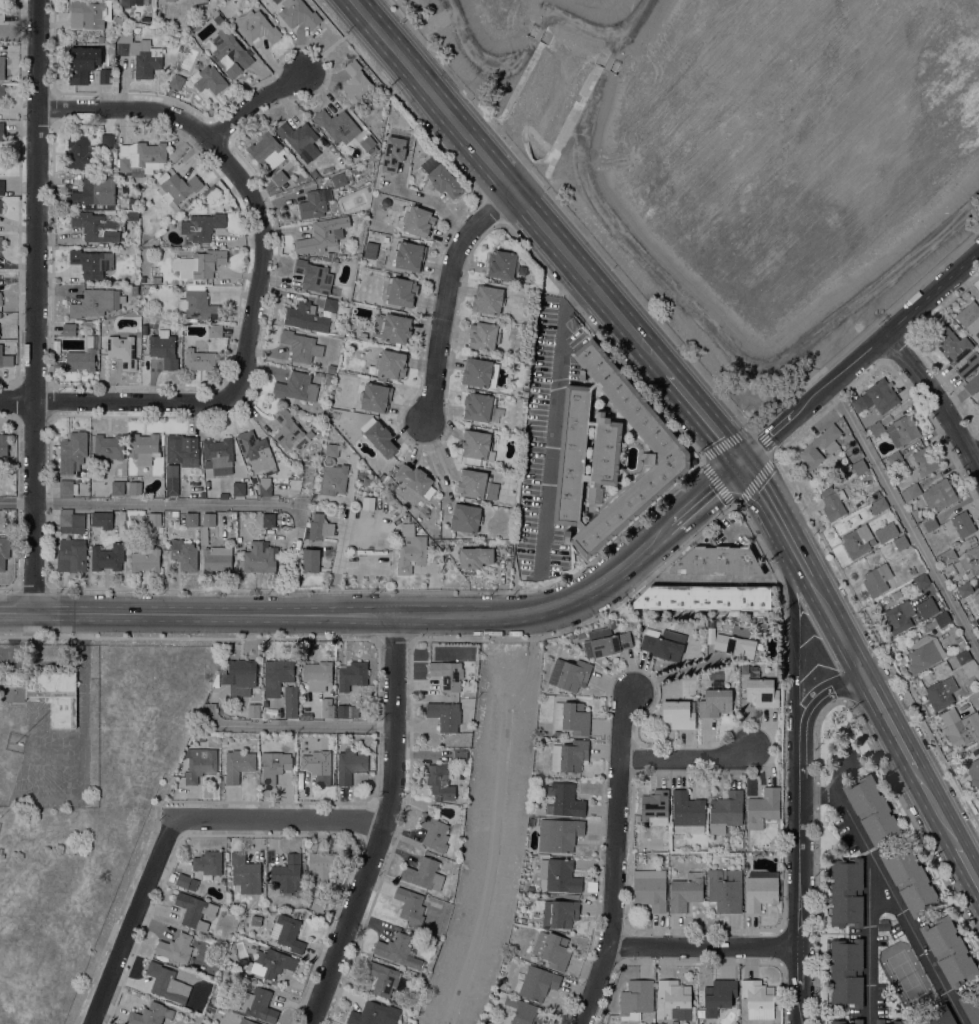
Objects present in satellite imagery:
building: (2, 1)
building: (200, 1)
building: (135, 2)
road: (397, 8)
building: (92, 12)
building: (2, 13)
building: (298, 13)
building: (117, 19)
road: (578, 25)
building: (257, 26)
road: (630, 29)
road: (539, 33)
building: (140, 53)
building: (230, 53)
road: (481, 60)
road: (609, 62)
building: (82, 63)
building: (2, 66)
building: (105, 76)
building: (208, 79)
building: (176, 81)
building: (356, 81)
building: (1, 90)
road: (433, 96)
road: (254, 103)
road: (126, 107)
building: (337, 124)
building: (1, 130)
building: (300, 139)
building: (108, 140)
building: (368, 144)
building: (181, 146)
building: (267, 150)
building: (81, 153)
building: (393, 153)
building: (142, 156)
building: (314, 173)
building: (441, 177)
building: (341, 178)
building: (280, 179)
building: (2, 186)
building: (179, 187)
building: (208, 190)
building: (95, 194)
road: (429, 200)
building: (132, 202)
building: (314, 203)
building: (0, 205)
building: (418, 220)
building: (96, 225)
building: (201, 227)
building: (322, 234)
building: (1, 243)
building: (409, 255)
road: (260, 259)
building: (91, 262)
building: (199, 263)
building: (502, 263)
building: (313, 275)
building: (157, 279)
road: (589, 281)
road: (628, 282)
building: (134, 289)
building: (401, 291)
road: (445, 292)
building: (0, 298)
building: (488, 299)
building: (95, 302)
building: (198, 303)
road: (34, 306)
building: (334, 306)
building: (306, 316)
building: (969, 318)
building: (392, 327)
building: (68, 328)
building: (145, 329)
building: (215, 330)
road: (839, 333)
building: (362, 335)
building: (484, 335)
road: (719, 342)
building: (951, 344)
building: (301, 345)
building: (122, 348)
building: (164, 348)
building: (82, 357)
road: (859, 357)
building: (5, 358)
building: (199, 360)
building: (391, 364)
building: (968, 364)
building: (57, 365)
building: (331, 368)
building: (479, 372)
building: (972, 383)
building: (296, 386)
building: (881, 394)
building: (376, 397)
road: (938, 400)
road: (116, 401)
building: (978, 402)
building: (858, 403)
building: (478, 406)
road: (702, 415)
road: (551, 421)
building: (877, 429)
building: (902, 430)
building: (290, 431)
road: (744, 431)
building: (379, 436)
building: (3, 444)
building: (476, 446)
building: (107, 447)
building: (144, 447)
building: (255, 447)
building: (182, 449)
building: (331, 449)
building: (72, 450)
building: (808, 450)
road: (438, 453)
building: (609, 453)
building: (218, 455)
road: (975, 456)
building: (895, 458)
traffic signals: (739, 460)
building: (925, 460)
building: (308, 465)
building: (860, 466)
building: (172, 479)
building: (333, 479)
building: (416, 479)
building: (476, 484)
building: (265, 486)
building: (66, 487)
building: (117, 487)
building: (135, 487)
building: (239, 488)
road: (705, 491)
building: (910, 492)
road: (763, 494)
building: (223, 495)
building: (938, 495)
building: (833, 502)
road: (151, 504)
building: (880, 504)
road: (734, 506)
building: (174, 513)
building: (916, 514)
road: (905, 515)
building: (465, 517)
building: (154, 518)
building: (101, 519)
building: (191, 519)
building: (269, 519)
building: (70, 521)
building: (930, 523)
building: (963, 523)
building: (318, 527)
building: (408, 529)
building: (886, 532)
building: (857, 540)
building: (901, 542)
building: (213, 548)
building: (4, 551)
building: (410, 552)
road: (798, 553)
building: (184, 554)
building: (71, 555)
building: (475, 556)
building: (107, 557)
building: (258, 557)
building: (145, 558)
building: (311, 560)
building: (963, 560)
building: (716, 561)
building: (913, 570)
road: (790, 574)
building: (877, 579)
building: (922, 580)
building: (965, 589)
building: (704, 597)
building: (976, 597)
building: (927, 607)
road: (18, 611)
road: (367, 614)
building: (899, 616)
building: (969, 616)
building: (942, 617)
building: (978, 620)
building: (699, 623)
road: (837, 623)
building: (580, 633)
building: (572, 636)
road: (395, 639)
road: (371, 640)
building: (736, 641)
building: (605, 642)
building: (663, 643)
building: (565, 647)
building: (961, 651)
building: (925, 653)
road: (801, 668)
building: (317, 674)
building: (447, 674)
building: (570, 674)
building: (239, 675)
building: (352, 675)
building: (277, 676)
building: (978, 678)
road: (826, 687)
building: (761, 690)
building: (49, 692)
building: (941, 692)
building: (13, 693)
building: (974, 698)
building: (290, 701)
building: (715, 702)
building: (264, 706)
building: (254, 710)
building: (327, 710)
building: (347, 710)
building: (678, 713)
building: (445, 715)
building: (571, 717)
road: (889, 719)
road: (301, 726)
building: (960, 727)
building: (557, 732)
building: (201, 738)
building: (222, 740)
building: (295, 755)
building: (460, 755)
building: (570, 756)
road: (689, 759)
building: (200, 763)
building: (237, 764)
building: (350, 764)
building: (274, 765)
building: (318, 765)
building: (974, 770)
building: (440, 780)
building: (565, 799)
building: (655, 806)
building: (763, 807)
road: (937, 807)
building: (687, 808)
building: (871, 809)
building: (726, 810)
road: (494, 815)
road: (280, 817)
road: (366, 820)
building: (532, 821)
road: (384, 825)
building: (434, 831)
building: (740, 832)
building: (559, 834)
road: (267, 835)
road: (616, 859)
building: (208, 862)
building: (322, 864)
road: (969, 865)
road: (801, 871)
building: (245, 873)
building: (287, 874)
building: (424, 874)
building: (525, 874)
building: (559, 875)
road: (782, 876)
building: (910, 880)
building: (186, 881)
building: (522, 884)
building: (650, 888)
building: (725, 889)
building: (761, 889)
building: (685, 891)
building: (846, 891)
road: (892, 892)
building: (318, 904)
building: (410, 904)
building: (438, 904)
building: (194, 910)
building: (560, 912)
building: (256, 920)
road: (132, 921)
building: (883, 924)
building: (287, 932)
road: (868, 937)
building: (175, 947)
road: (705, 947)
building: (552, 949)
building: (948, 949)
building: (397, 950)
building: (271, 962)
road: (698, 963)
building: (846, 972)
building: (385, 978)
building: (167, 982)
building: (536, 982)
building: (423, 984)
building: (719, 995)
building: (675, 997)
building: (636, 998)
building: (758, 998)
building: (258, 1003)
building: (970, 1006)
building: (523, 1011)
building: (150, 1014)
building: (374, 1014)
building: (937, 1016)
building: (485, 1020)
building: (247, 1021)
building: (838, 1021)
building: (889, 1021)

